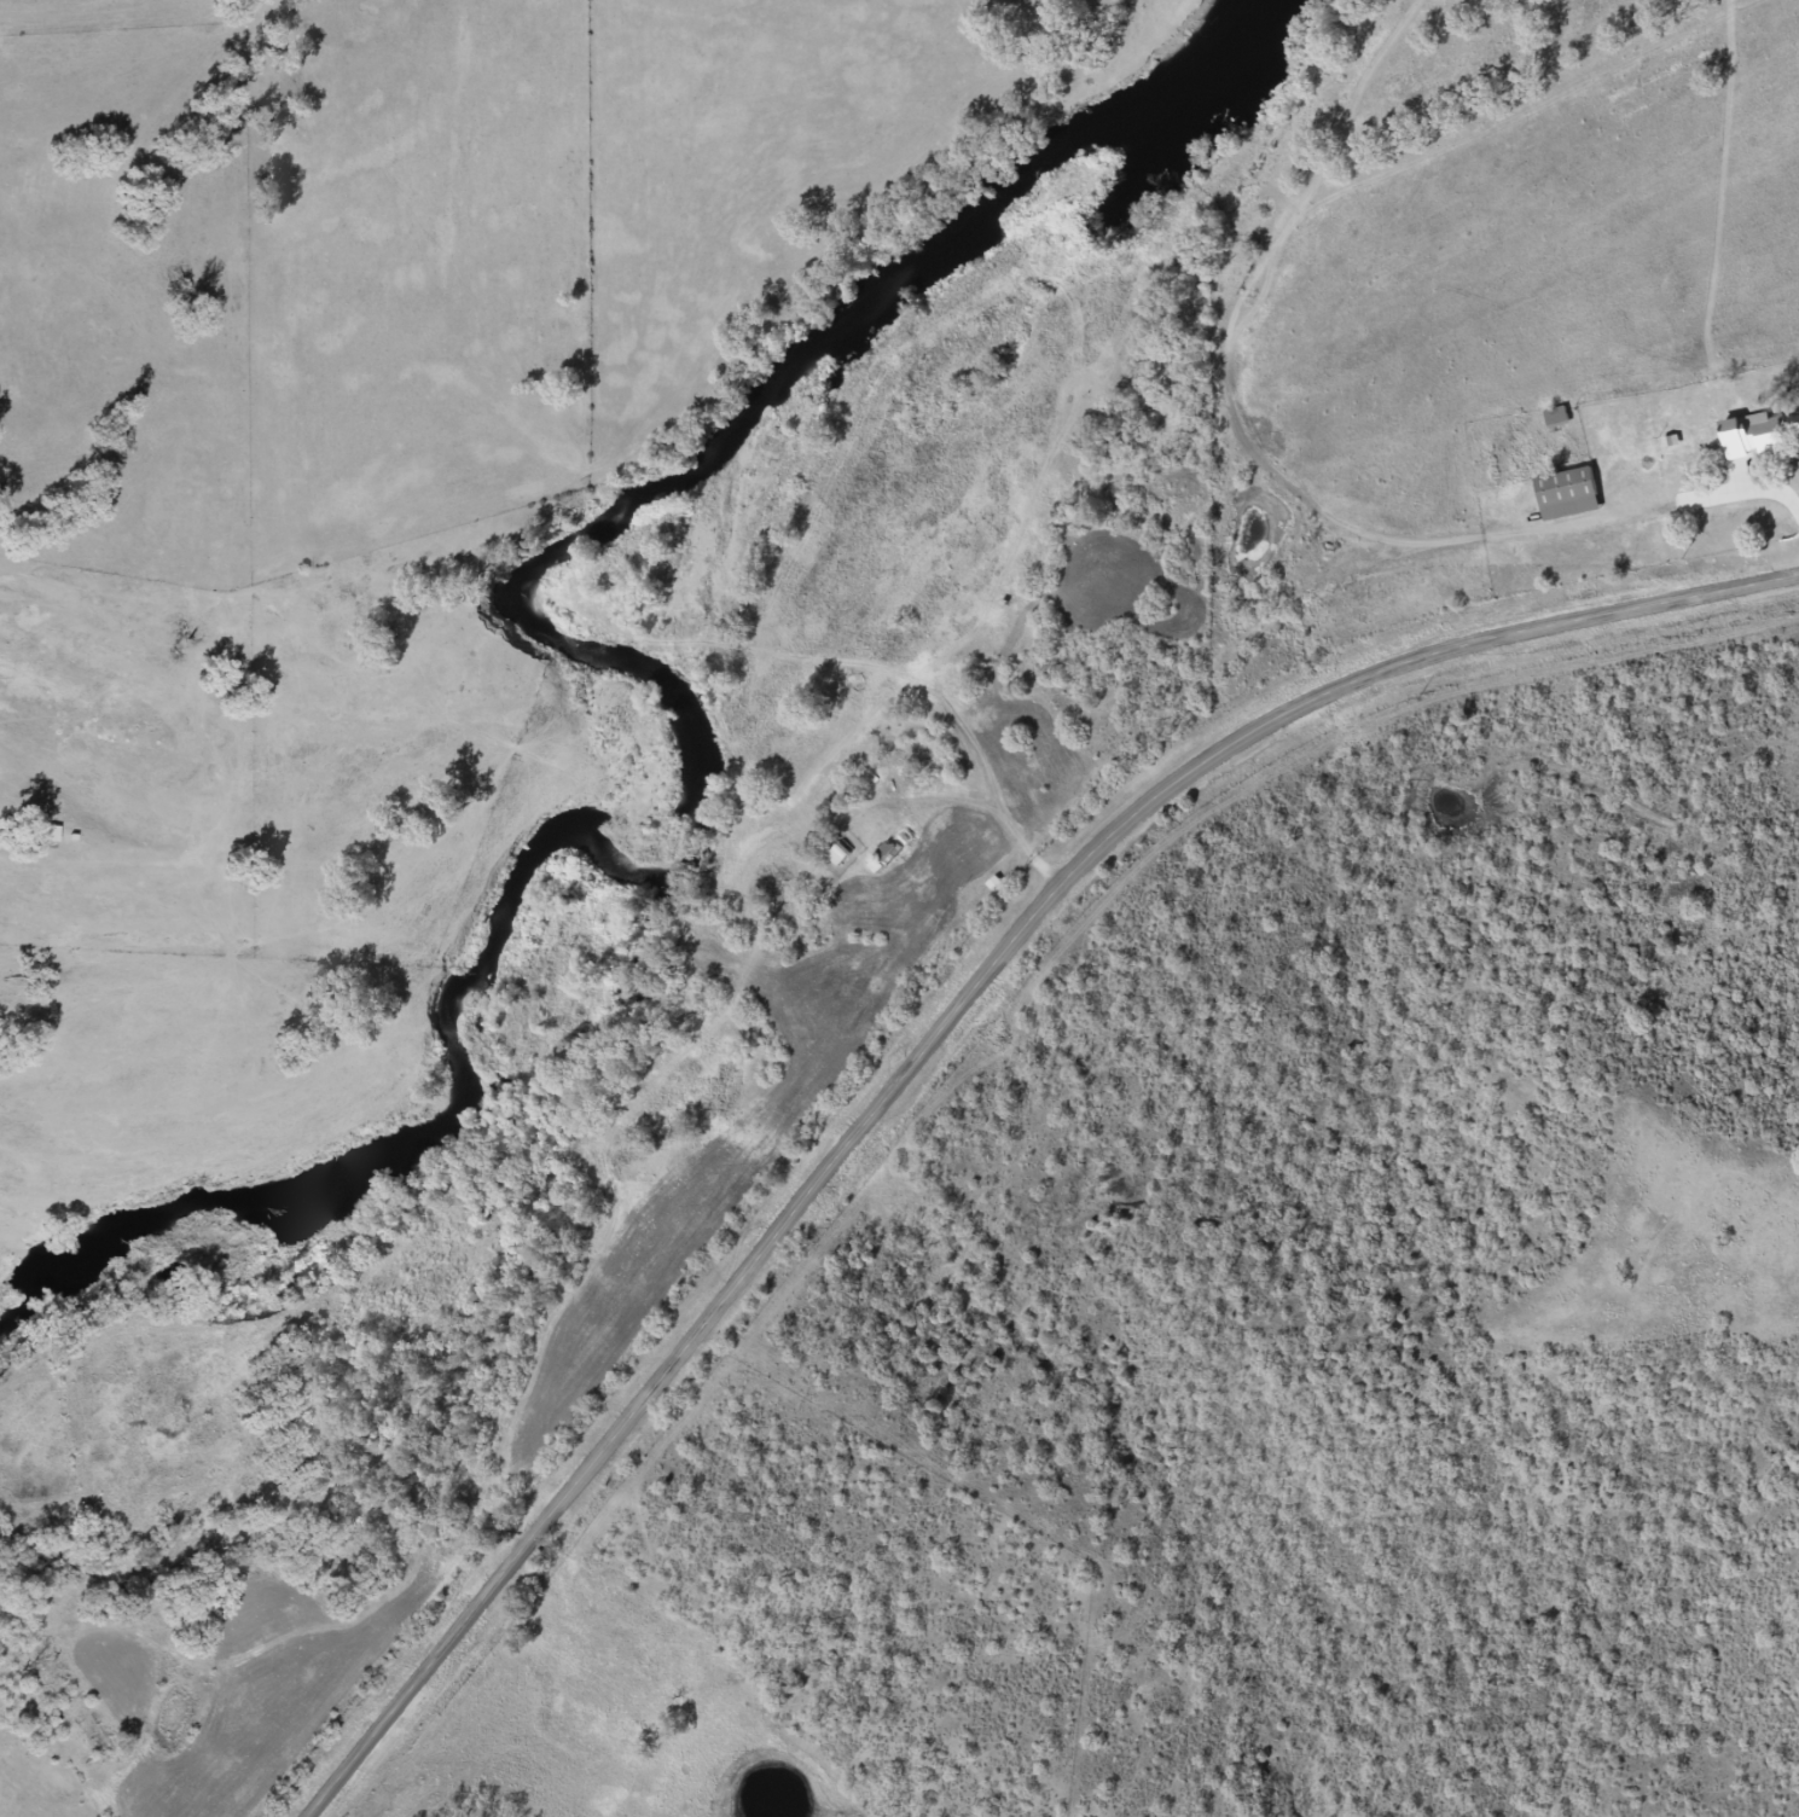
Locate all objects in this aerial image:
river: (1177, 92)
building: (1549, 418)
building: (1743, 435)
road: (1275, 494)
building: (1559, 494)
river: (696, 809)
building: (43, 834)
building: (831, 854)
building: (877, 857)
road: (938, 1031)

